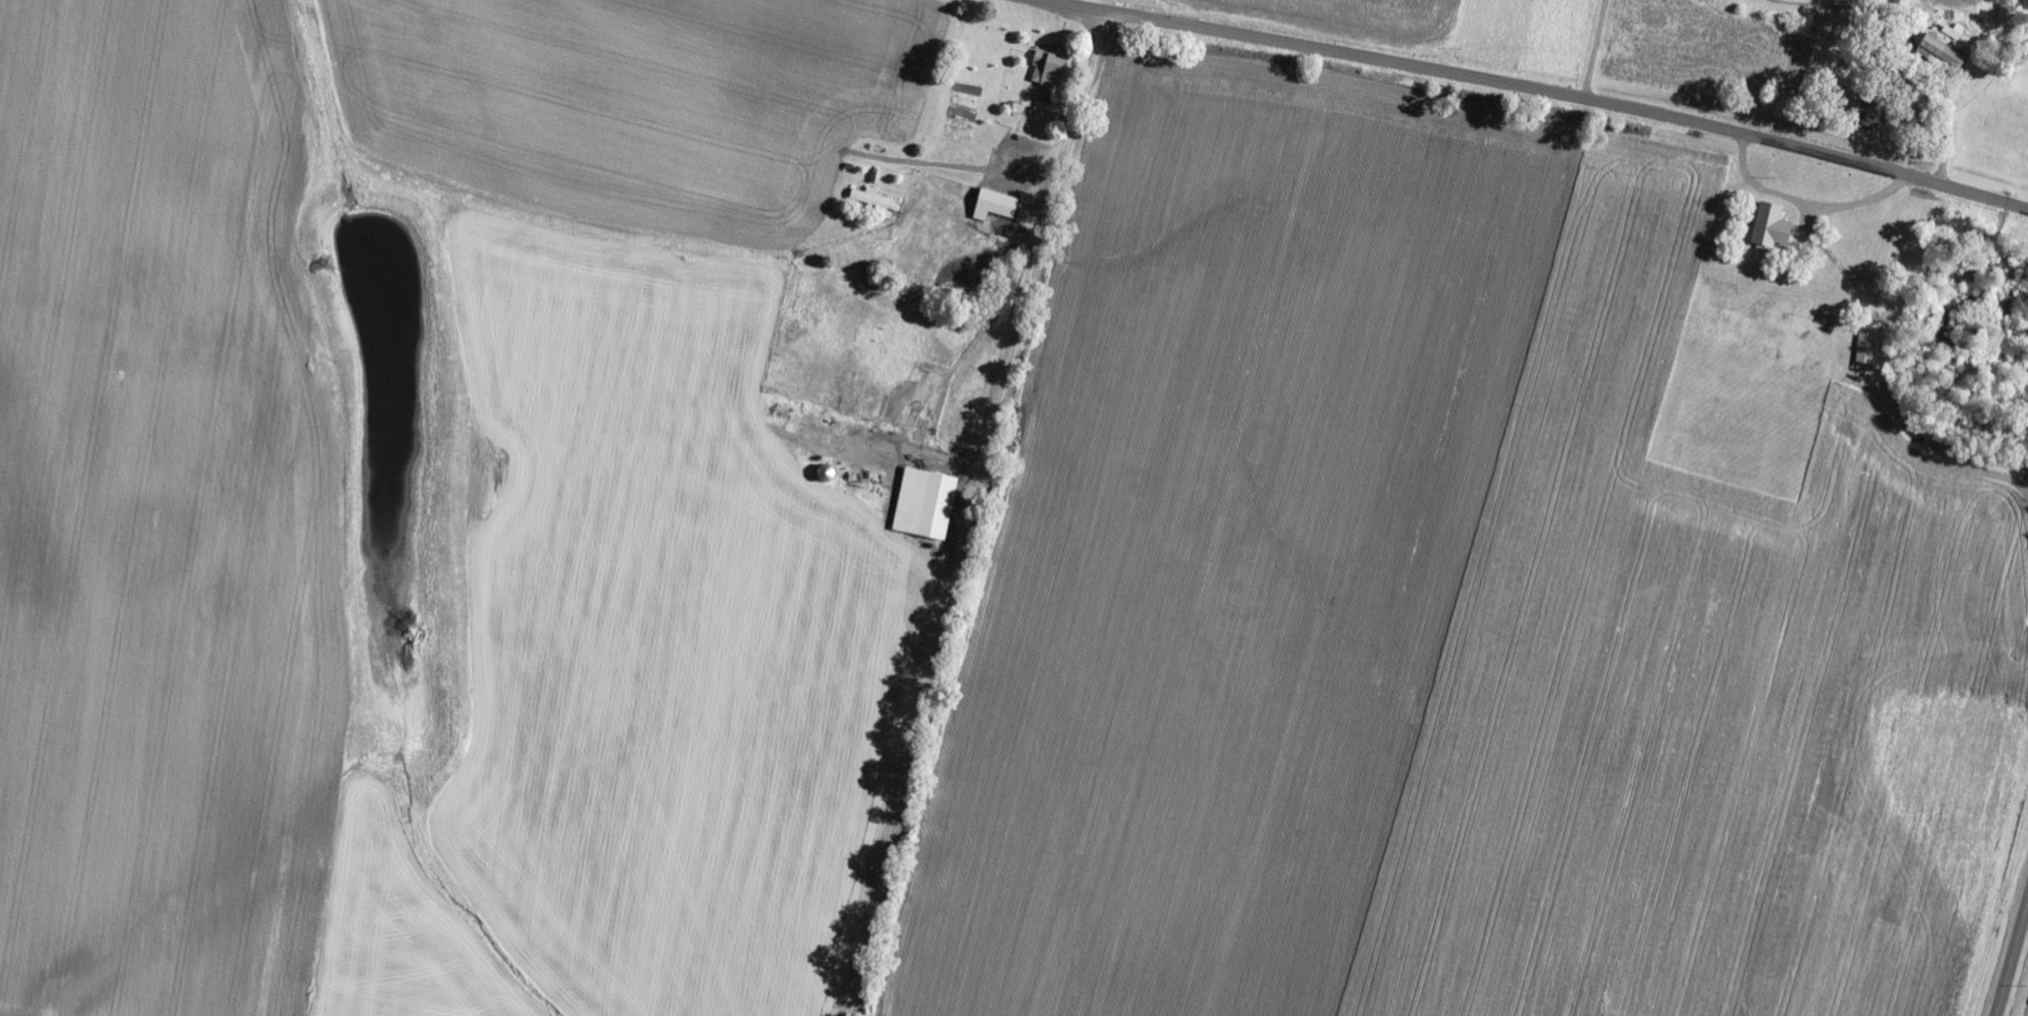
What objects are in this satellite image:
building: (1954, 32)
building: (1939, 54)
building: (1045, 69)
road: (1541, 90)
building: (1863, 114)
building: (874, 202)
building: (992, 205)
building: (1768, 227)
building: (1866, 349)
building: (922, 505)
road: (2012, 961)

